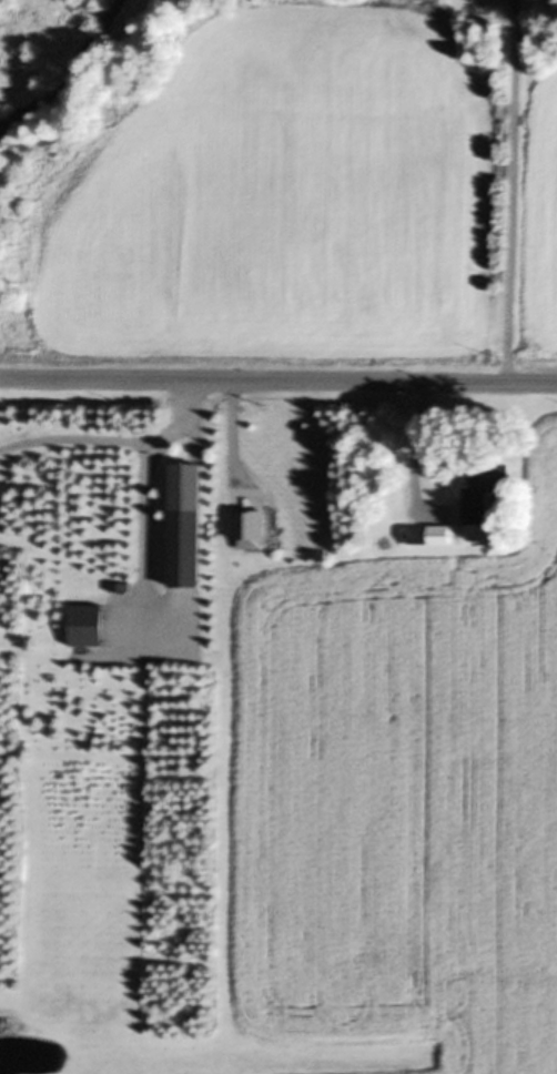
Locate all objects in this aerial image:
road: (278, 378)
building: (189, 486)
building: (485, 489)
building: (429, 534)

